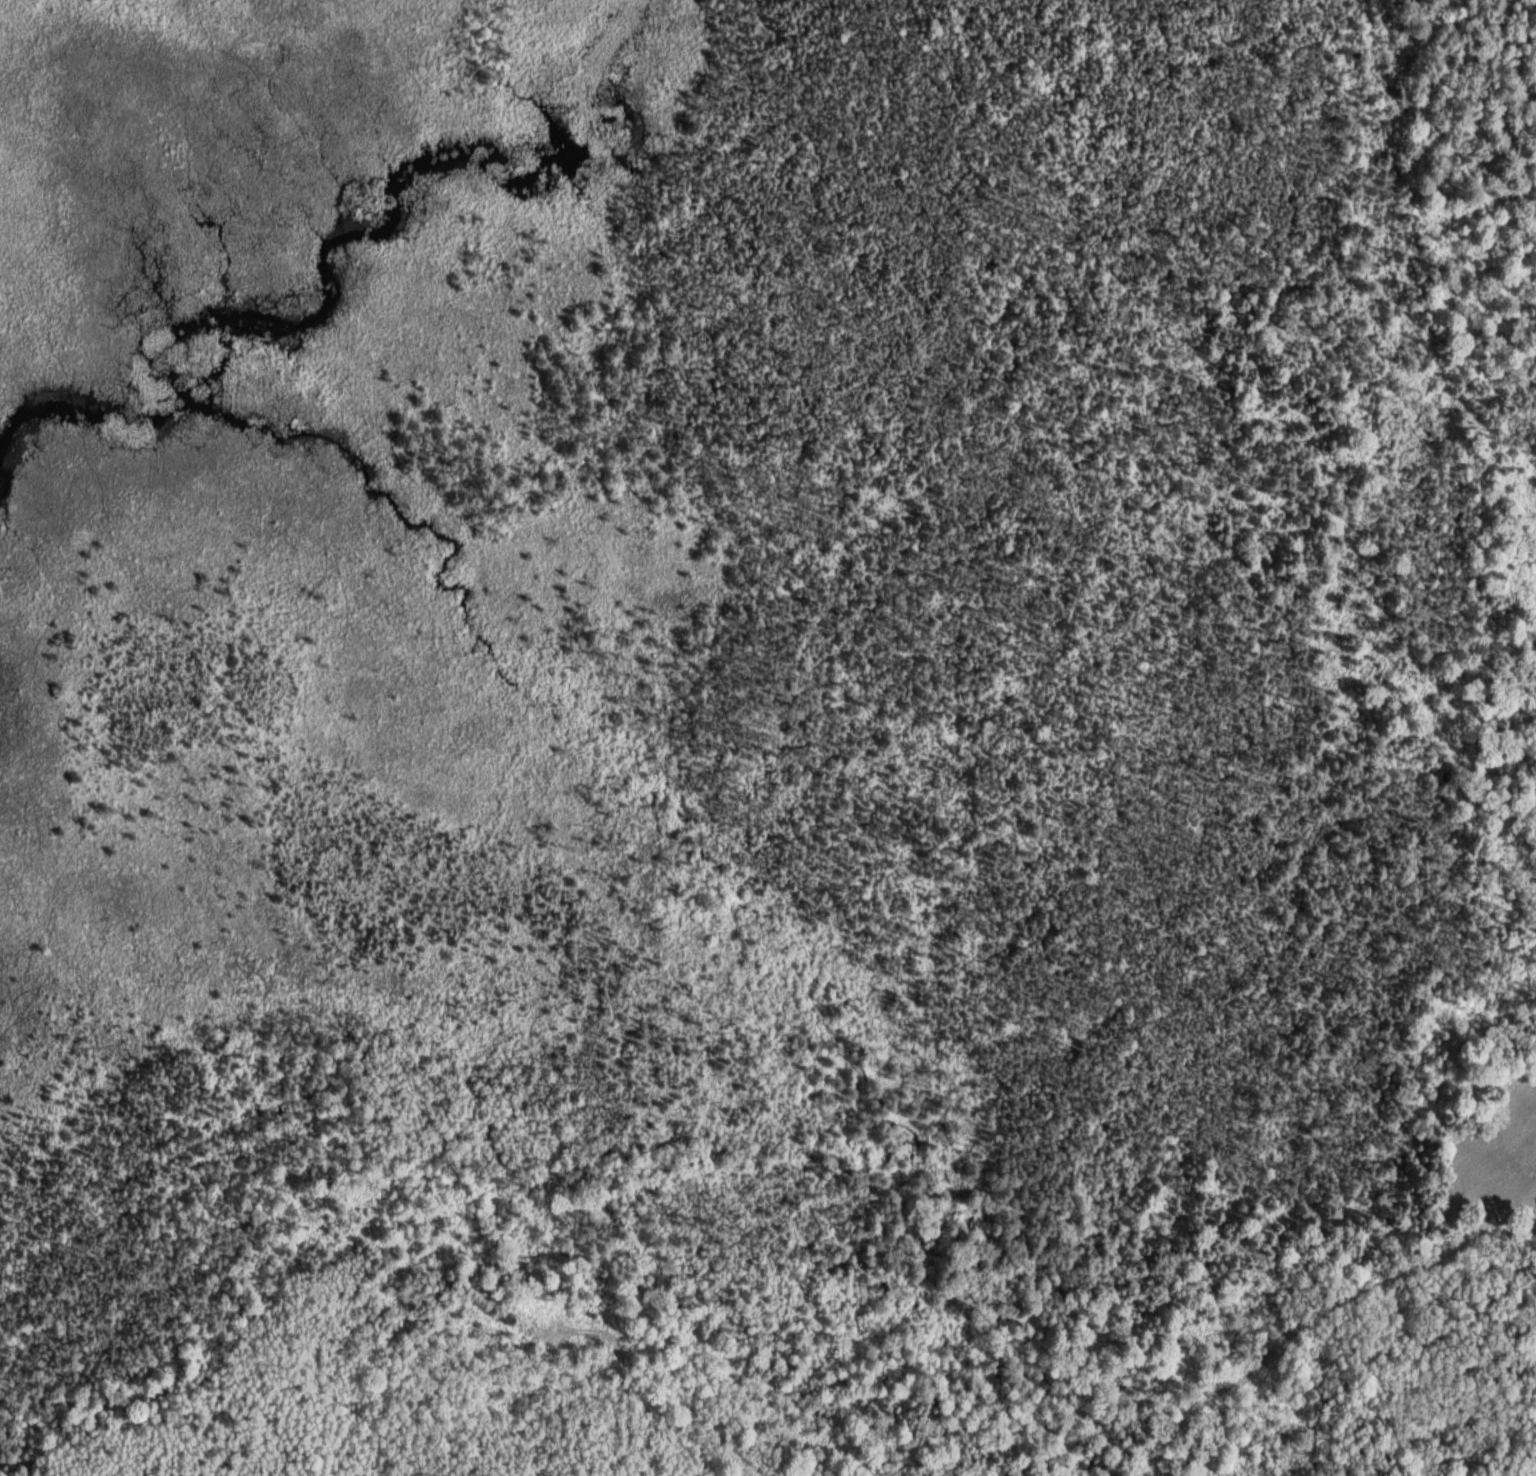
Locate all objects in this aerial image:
road: (1326, 1320)

